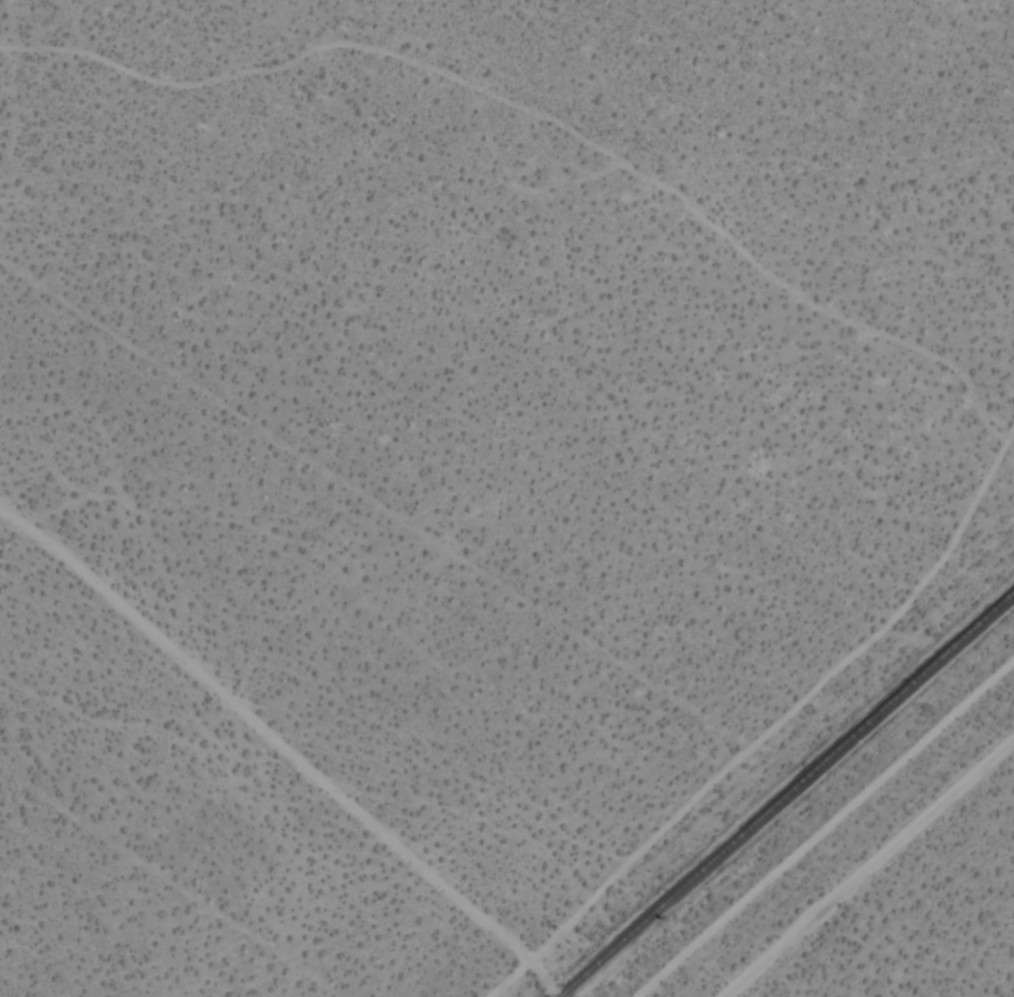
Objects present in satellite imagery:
railway: (788, 795)

